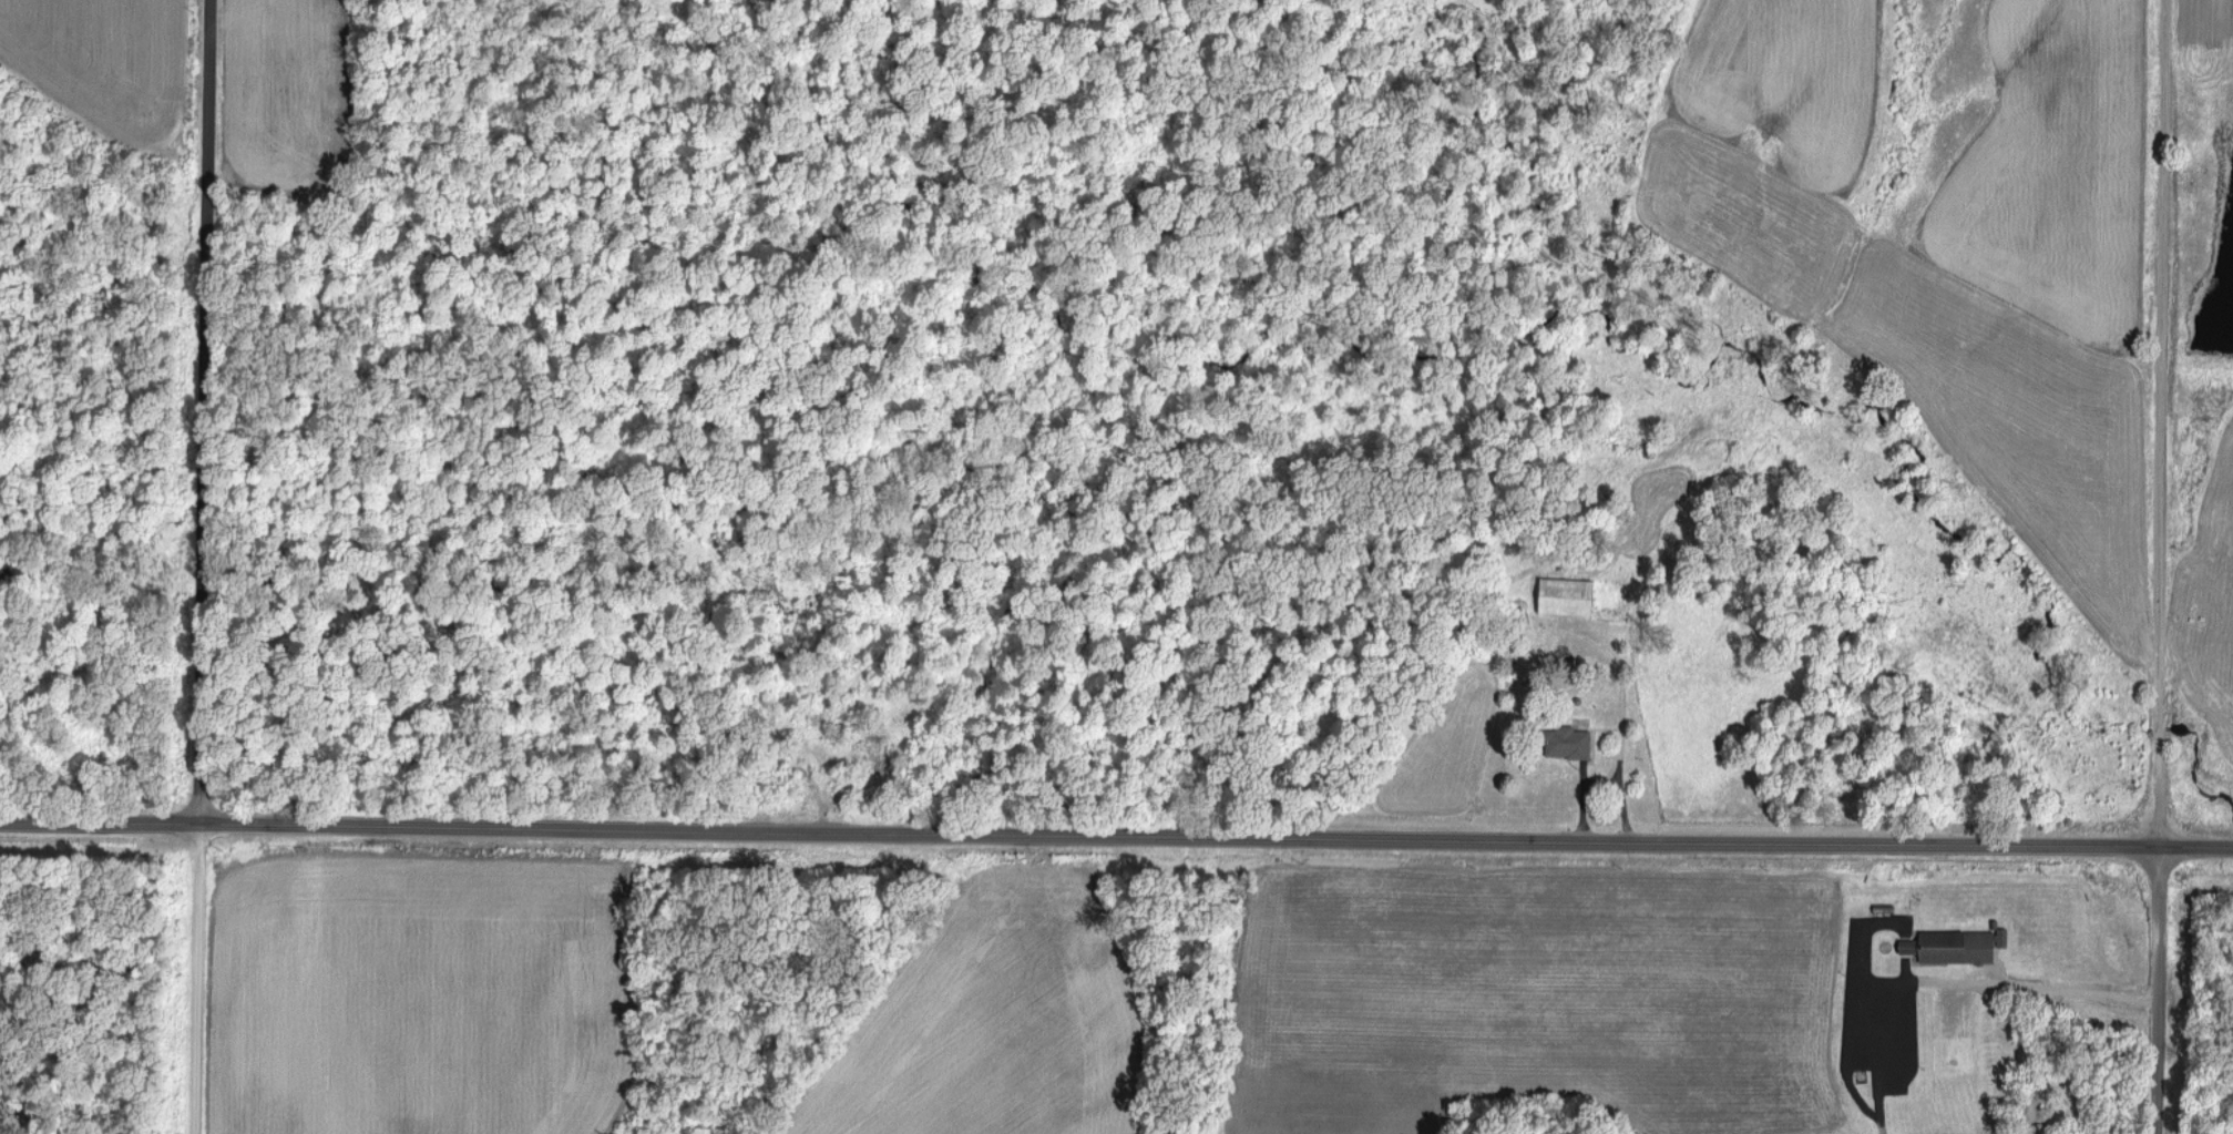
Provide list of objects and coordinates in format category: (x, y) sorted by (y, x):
road: (203, 566)
building: (1570, 742)
road: (100, 829)
road: (1216, 840)
building: (1911, 944)
building: (1963, 944)
road: (2153, 991)

